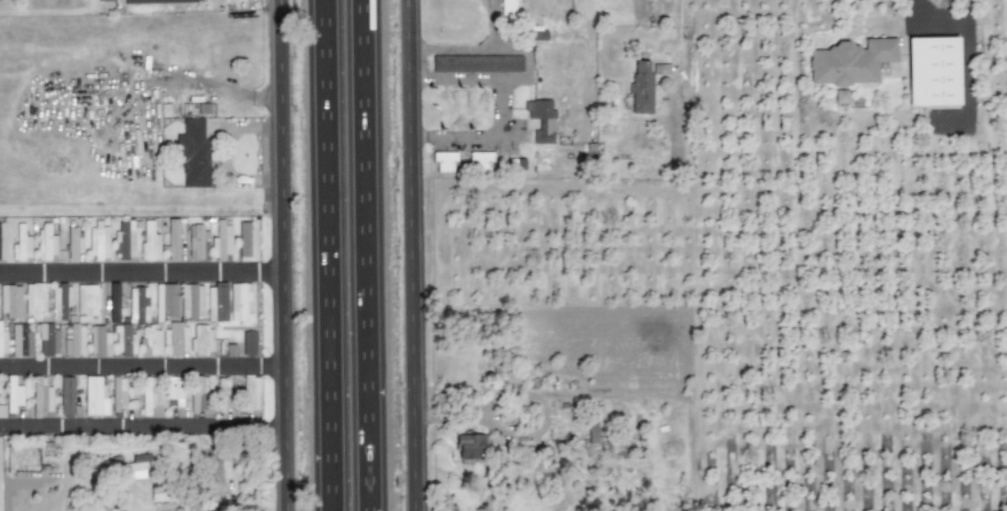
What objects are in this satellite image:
building: (105, 0)
building: (507, 7)
road: (967, 31)
building: (537, 35)
road: (471, 51)
building: (849, 62)
building: (476, 64)
building: (661, 69)
building: (932, 71)
building: (641, 88)
building: (840, 96)
road: (498, 107)
building: (541, 120)
building: (193, 154)
building: (444, 161)
building: (479, 161)
building: (2, 240)
building: (124, 240)
building: (172, 240)
building: (98, 241)
building: (195, 241)
building: (220, 241)
building: (45, 242)
building: (246, 242)
building: (73, 243)
building: (149, 243)
building: (21, 244)
road: (286, 255)
road: (329, 255)
road: (367, 255)
road: (411, 255)
road: (143, 273)
building: (34, 300)
building: (88, 300)
building: (60, 301)
building: (165, 301)
building: (191, 301)
building: (11, 302)
building: (239, 302)
building: (114, 303)
building: (138, 305)
building: (74, 339)
building: (176, 339)
building: (96, 340)
building: (151, 340)
building: (202, 340)
building: (21, 341)
building: (125, 341)
building: (3, 342)
building: (249, 343)
building: (107, 344)
road: (144, 366)
building: (173, 391)
building: (251, 392)
building: (118, 393)
building: (13, 394)
building: (147, 394)
building: (67, 395)
building: (95, 396)
building: (41, 398)
building: (2, 411)
road: (144, 425)
building: (592, 428)
building: (470, 447)
building: (135, 470)
building: (162, 494)

